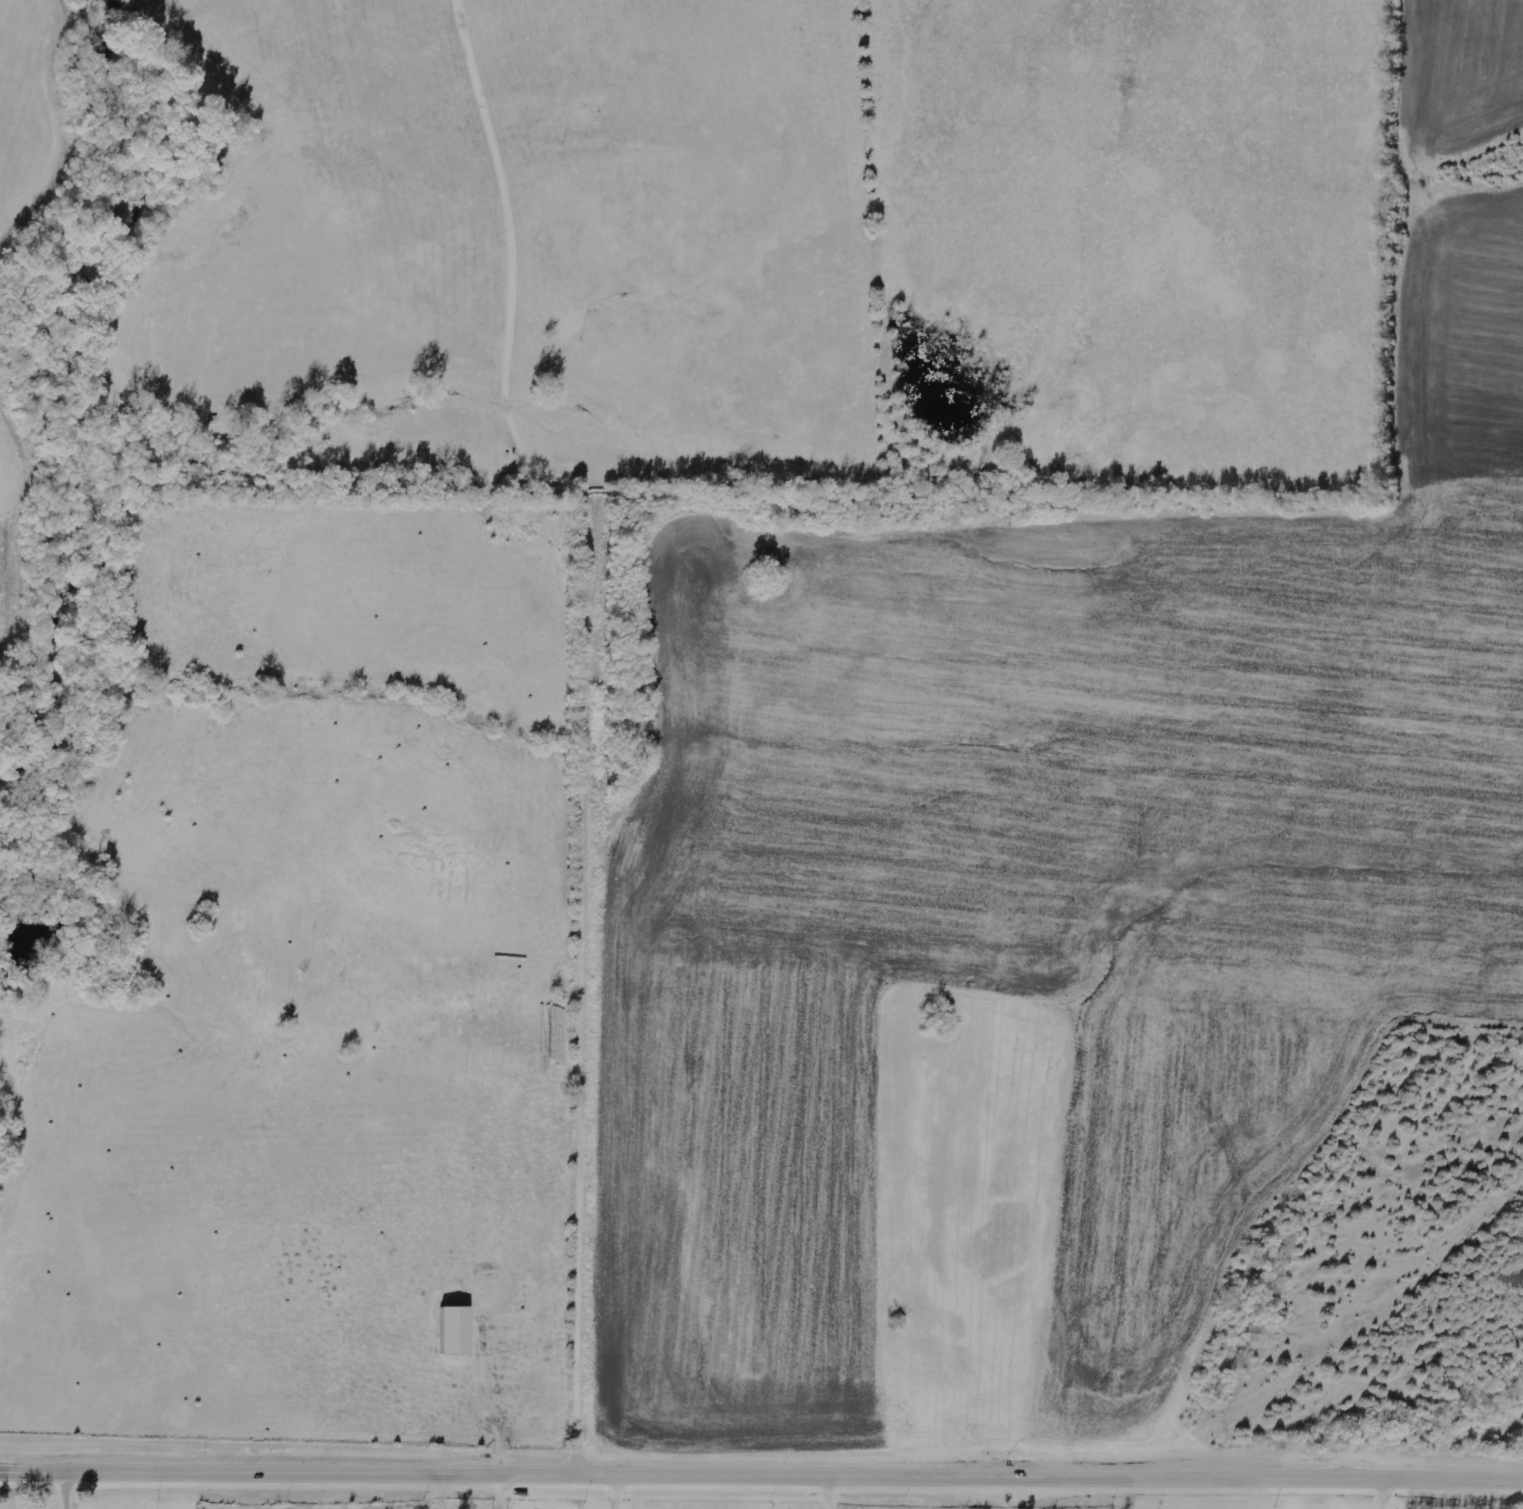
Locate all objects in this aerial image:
road: (590, 958)
building: (454, 1329)
road: (761, 1474)

